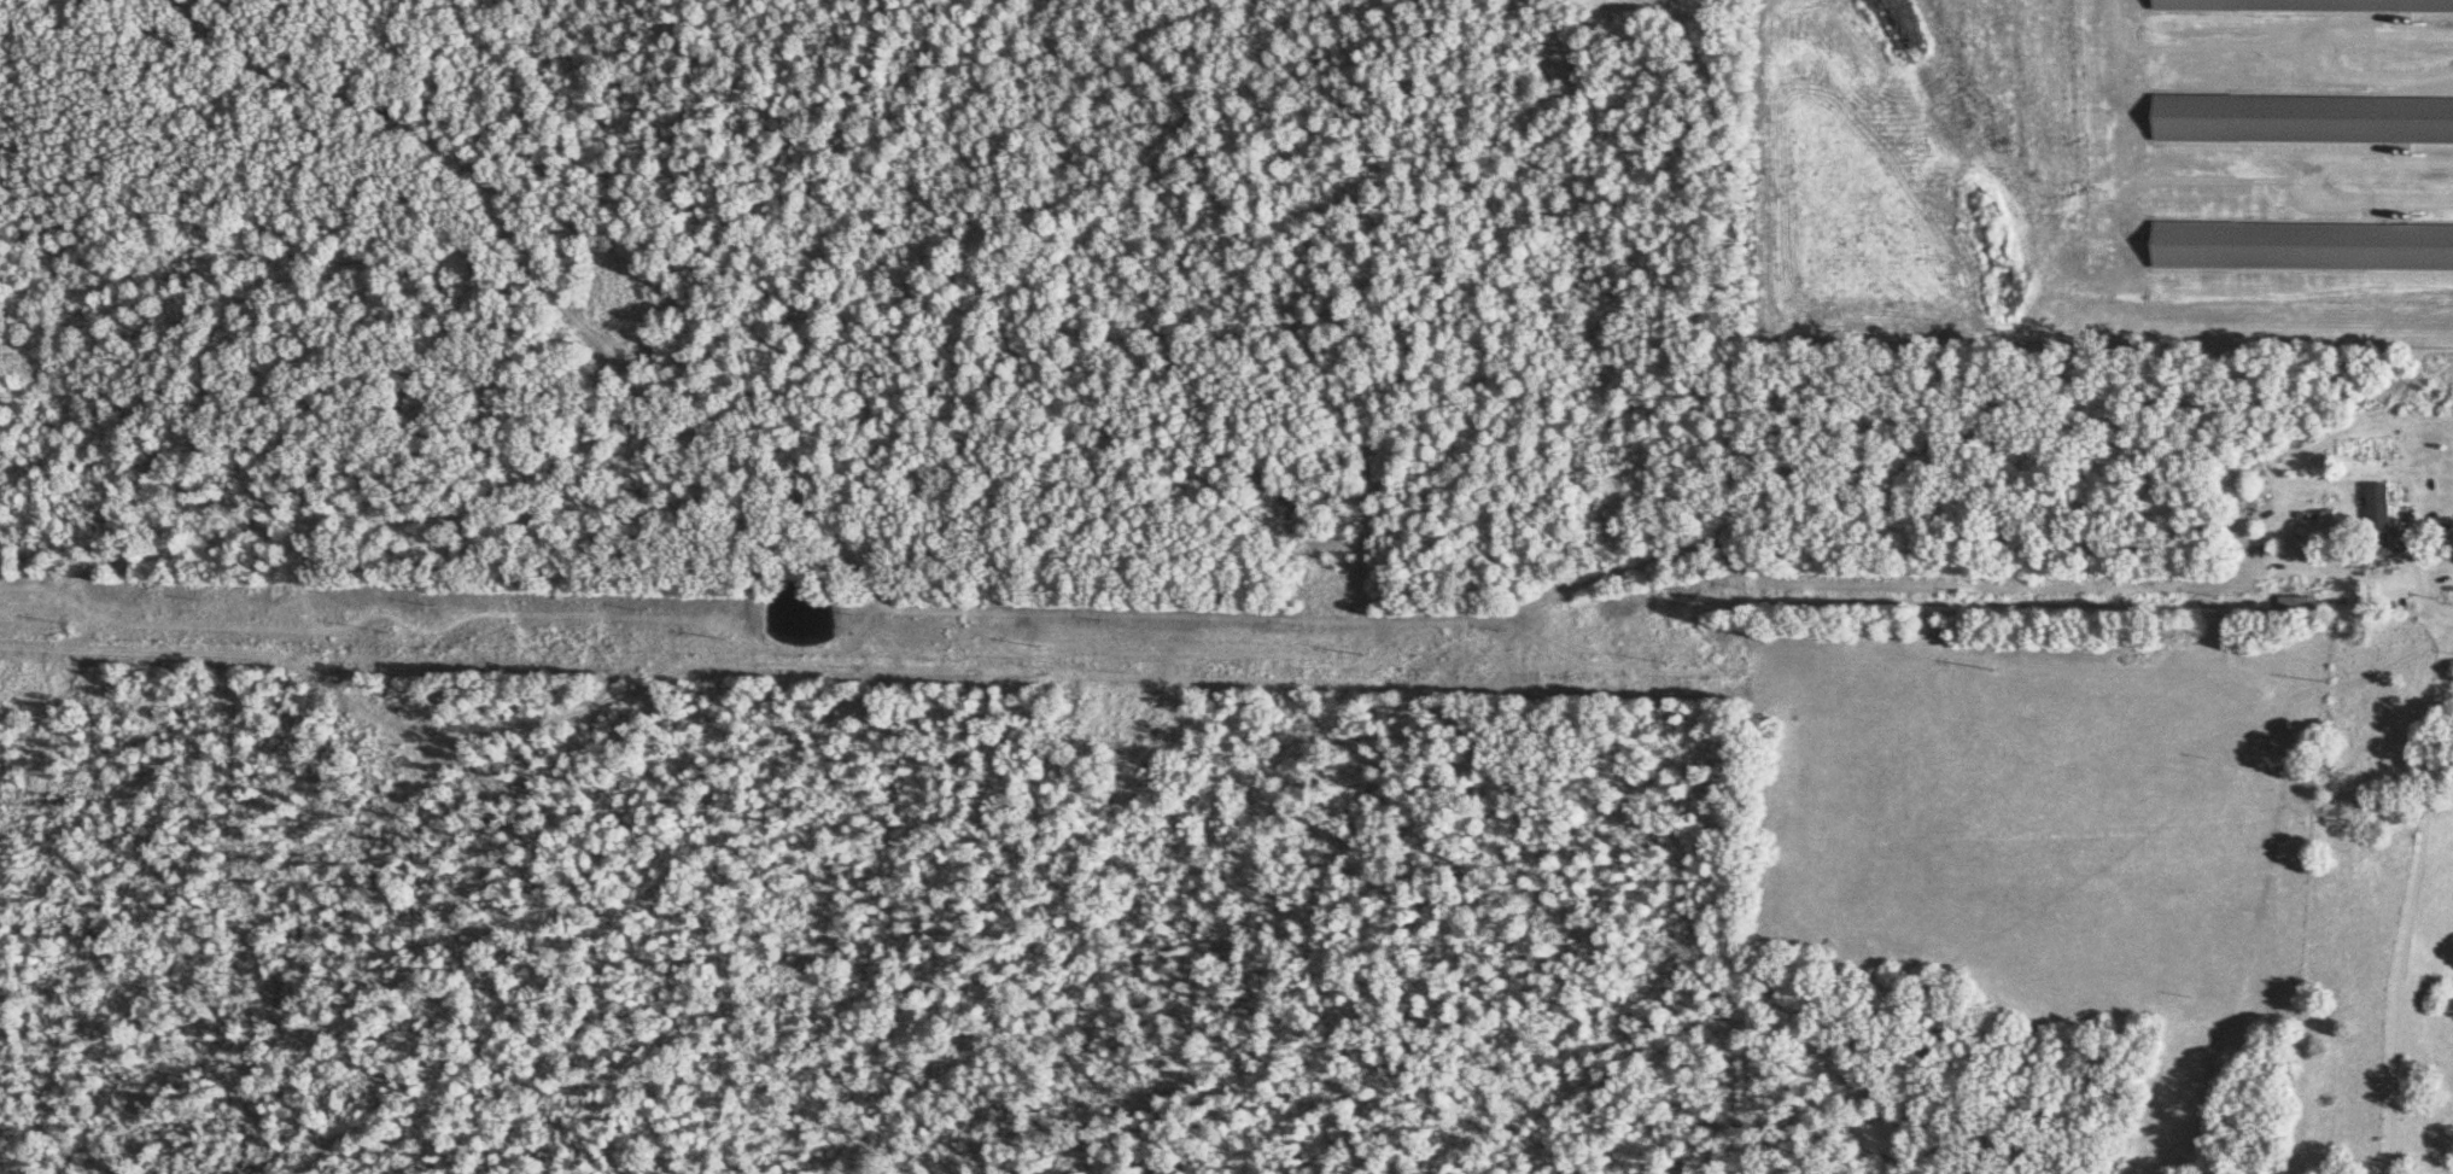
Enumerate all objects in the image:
building: (2373, 521)
road: (2408, 588)
building: (2291, 604)
building: (2363, 747)
road: (2414, 916)

